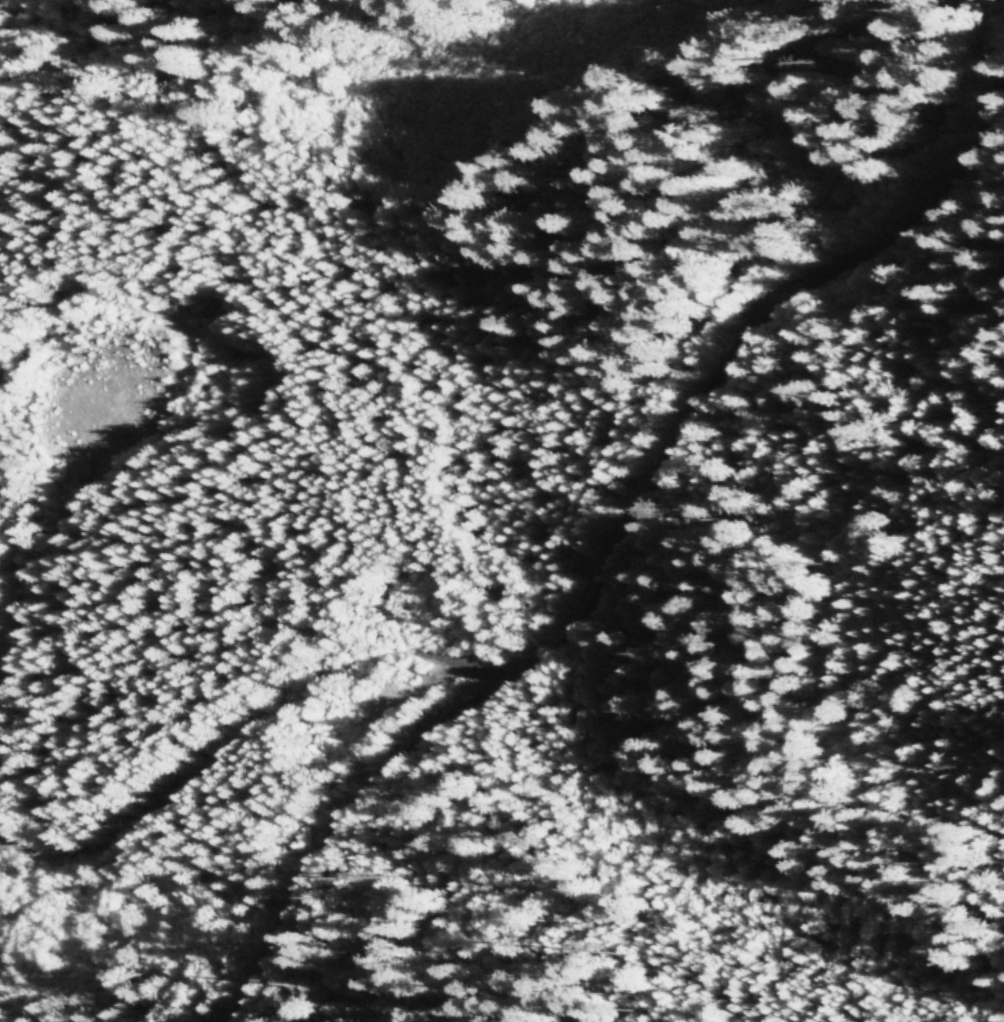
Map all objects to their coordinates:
road: (630, 537)
road: (9, 581)
road: (246, 729)

